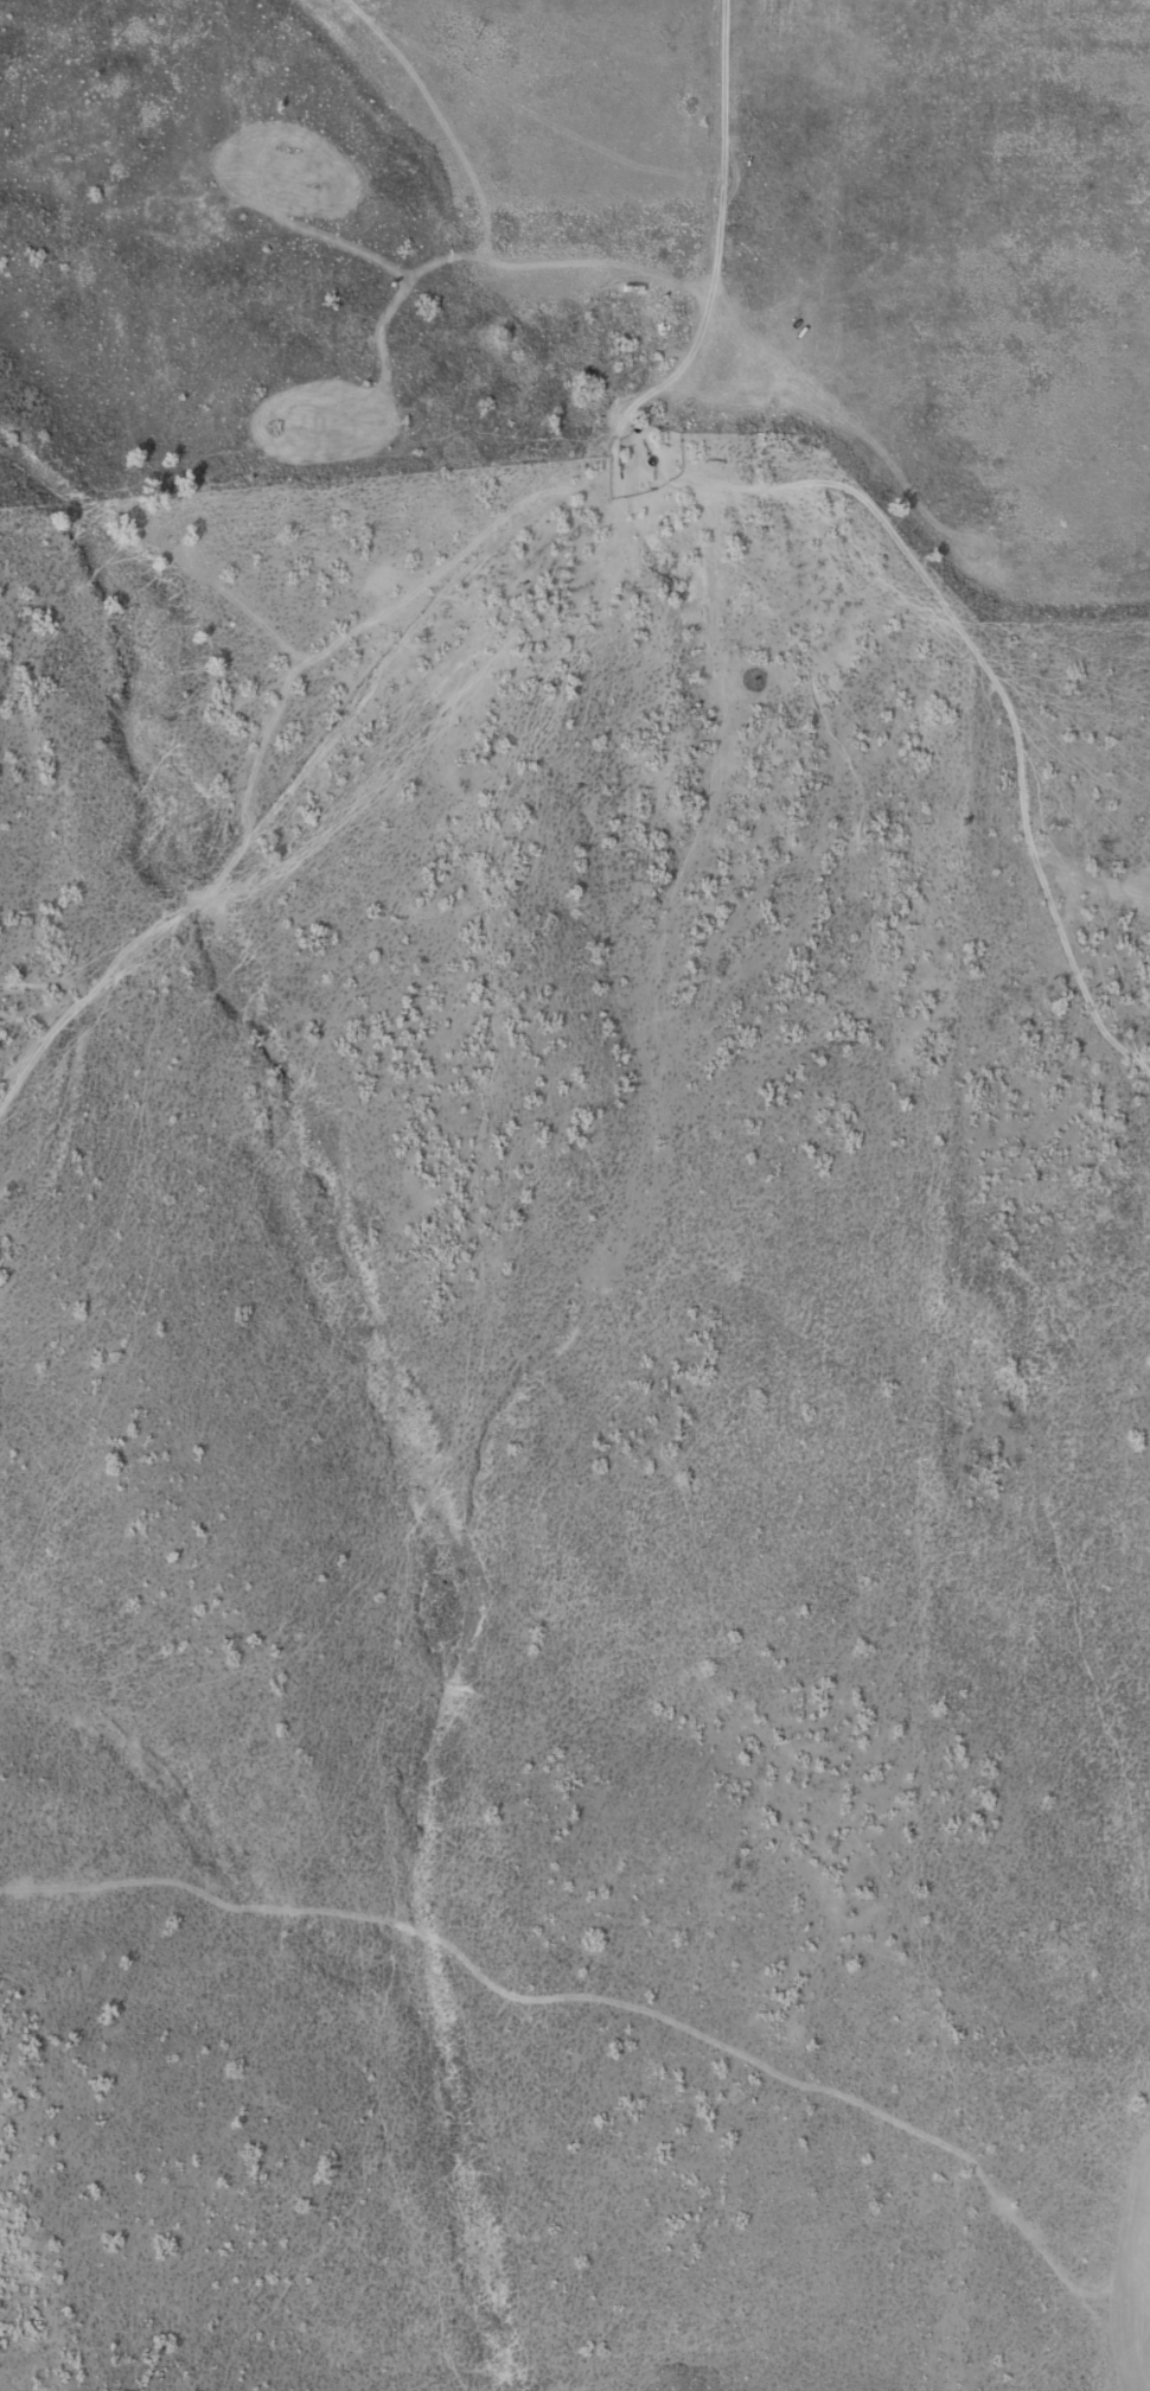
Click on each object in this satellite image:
road: (699, 297)
road: (579, 567)

